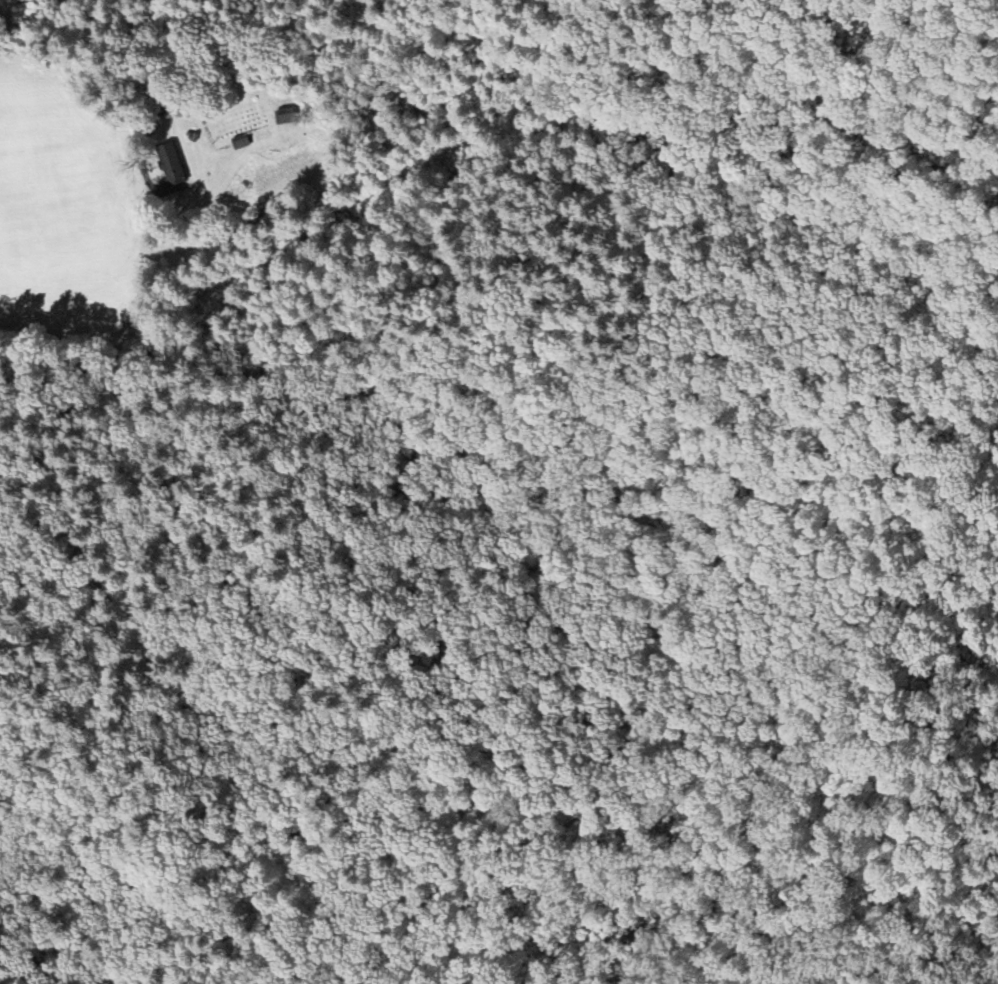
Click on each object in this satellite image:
road: (14, 26)
building: (170, 165)

